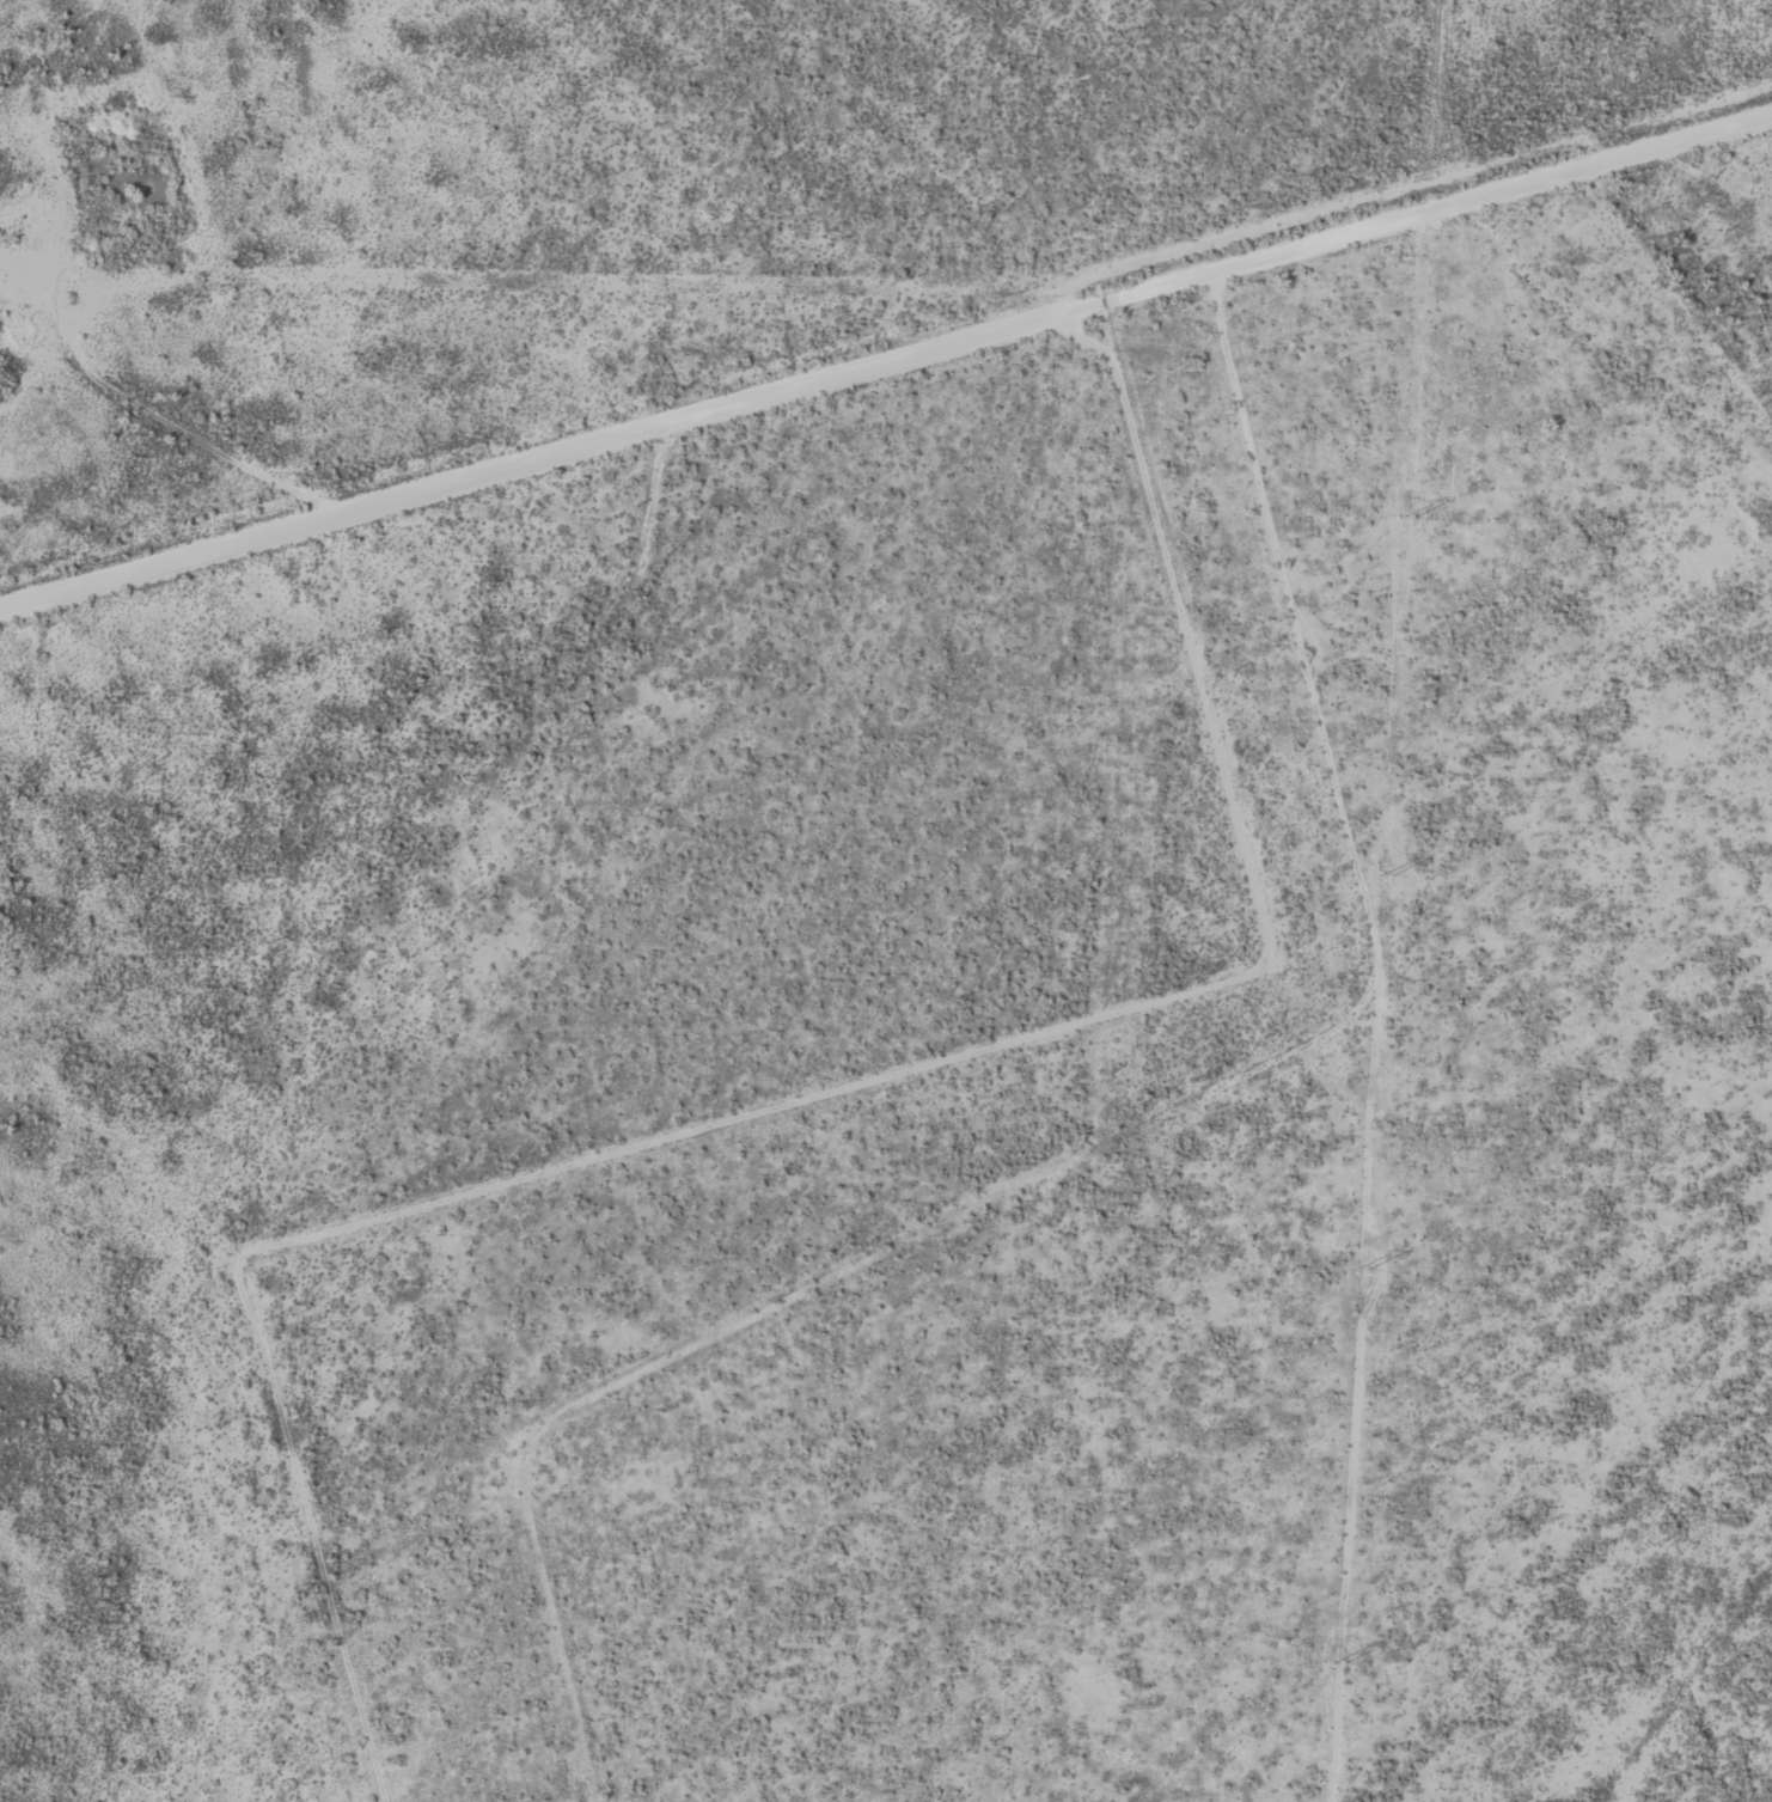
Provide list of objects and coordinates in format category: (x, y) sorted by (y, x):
power tower: (1429, 161)
road: (1621, 361)
road: (886, 371)
power tower: (1407, 519)
power tower: (1386, 876)
road: (1114, 1135)
power tower: (1362, 1272)
power tower: (1338, 1664)

